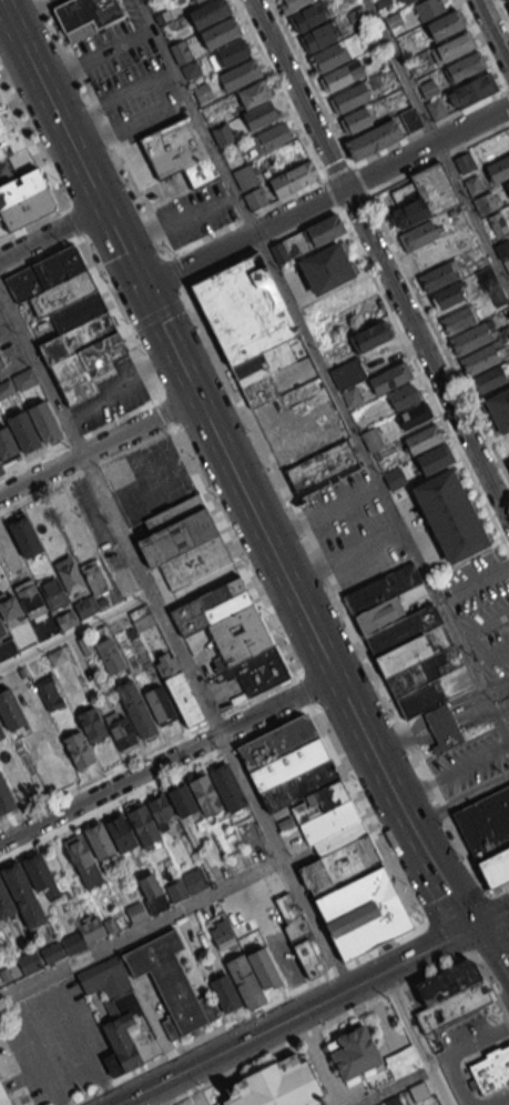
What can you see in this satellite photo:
building: (195, 0)
building: (406, 1)
building: (508, 1)
building: (293, 4)
building: (429, 8)
building: (208, 12)
road: (502, 12)
building: (85, 16)
building: (306, 17)
road: (3, 21)
building: (444, 24)
building: (220, 32)
road: (491, 33)
building: (316, 37)
road: (482, 44)
building: (455, 46)
building: (181, 52)
building: (228, 54)
building: (330, 56)
building: (464, 67)
building: (191, 70)
road: (401, 70)
building: (240, 74)
building: (339, 77)
road: (313, 81)
building: (428, 87)
building: (475, 88)
road: (278, 89)
road: (506, 91)
building: (202, 92)
building: (348, 98)
building: (436, 108)
building: (256, 115)
road: (196, 117)
building: (356, 120)
road: (106, 127)
building: (381, 133)
road: (413, 133)
building: (223, 134)
building: (269, 137)
road: (31, 147)
building: (177, 152)
road: (438, 158)
building: (499, 169)
building: (18, 177)
building: (293, 178)
road: (323, 178)
building: (472, 183)
building: (507, 184)
building: (250, 187)
building: (426, 197)
road: (325, 198)
building: (487, 201)
road: (472, 214)
road: (44, 219)
road: (231, 223)
road: (50, 234)
building: (417, 235)
building: (308, 237)
road: (378, 260)
building: (507, 263)
building: (327, 268)
building: (436, 277)
traffic signals: (141, 290)
road: (105, 293)
building: (448, 295)
road: (156, 312)
building: (459, 319)
building: (70, 321)
road: (430, 321)
building: (247, 324)
road: (204, 327)
building: (369, 336)
building: (469, 339)
road: (166, 340)
building: (479, 359)
road: (17, 364)
road: (40, 369)
building: (17, 383)
road: (120, 388)
building: (404, 395)
building: (352, 396)
building: (499, 410)
building: (413, 415)
building: (43, 421)
building: (23, 431)
road: (78, 436)
building: (371, 439)
building: (423, 439)
building: (6, 443)
road: (96, 445)
building: (435, 459)
building: (508, 461)
road: (191, 466)
building: (1, 469)
building: (322, 469)
parking lot: (147, 479)
building: (395, 479)
road: (381, 489)
building: (450, 515)
road: (115, 523)
building: (24, 536)
building: (183, 542)
building: (92, 575)
building: (69, 576)
building: (52, 593)
building: (29, 599)
building: (9, 607)
building: (83, 609)
building: (65, 619)
building: (1, 630)
road: (74, 631)
building: (232, 635)
building: (7, 647)
building: (413, 650)
building: (57, 656)
road: (185, 663)
building: (169, 667)
building: (122, 682)
road: (496, 689)
building: (49, 693)
building: (160, 705)
road: (499, 707)
building: (10, 710)
road: (352, 714)
road: (445, 714)
building: (92, 724)
road: (451, 729)
building: (121, 730)
building: (1, 732)
road: (252, 736)
building: (276, 741)
road: (388, 742)
road: (162, 744)
building: (78, 749)
road: (396, 756)
road: (374, 757)
road: (166, 760)
road: (451, 772)
road: (386, 783)
building: (301, 785)
building: (226, 786)
road: (476, 792)
building: (205, 794)
building: (4, 797)
road: (248, 797)
road: (400, 812)
road: (425, 815)
building: (150, 820)
building: (121, 833)
building: (488, 834)
building: (99, 841)
building: (82, 860)
building: (38, 871)
road: (438, 876)
road: (480, 881)
building: (187, 884)
road: (500, 888)
road: (489, 893)
building: (23, 895)
road: (205, 896)
building: (6, 901)
road: (454, 908)
road: (499, 908)
building: (363, 913)
road: (416, 914)
road: (491, 917)
road: (267, 927)
traffic signals: (474, 927)
building: (301, 935)
building: (222, 936)
road: (442, 941)
road: (391, 942)
building: (65, 944)
road: (490, 944)
road: (493, 955)
road: (408, 960)
building: (263, 966)
building: (105, 976)
building: (447, 981)
building: (245, 982)
building: (171, 983)
road: (493, 991)
building: (225, 993)
building: (451, 1006)
road: (508, 1021)
road: (323, 1025)
building: (129, 1031)
road: (214, 1031)
road: (415, 1038)
road: (230, 1048)
road: (451, 1051)
building: (352, 1052)
road: (436, 1058)
building: (403, 1062)
building: (491, 1068)
building: (278, 1085)
road: (394, 1087)
building: (3, 1096)
road: (498, 1099)

